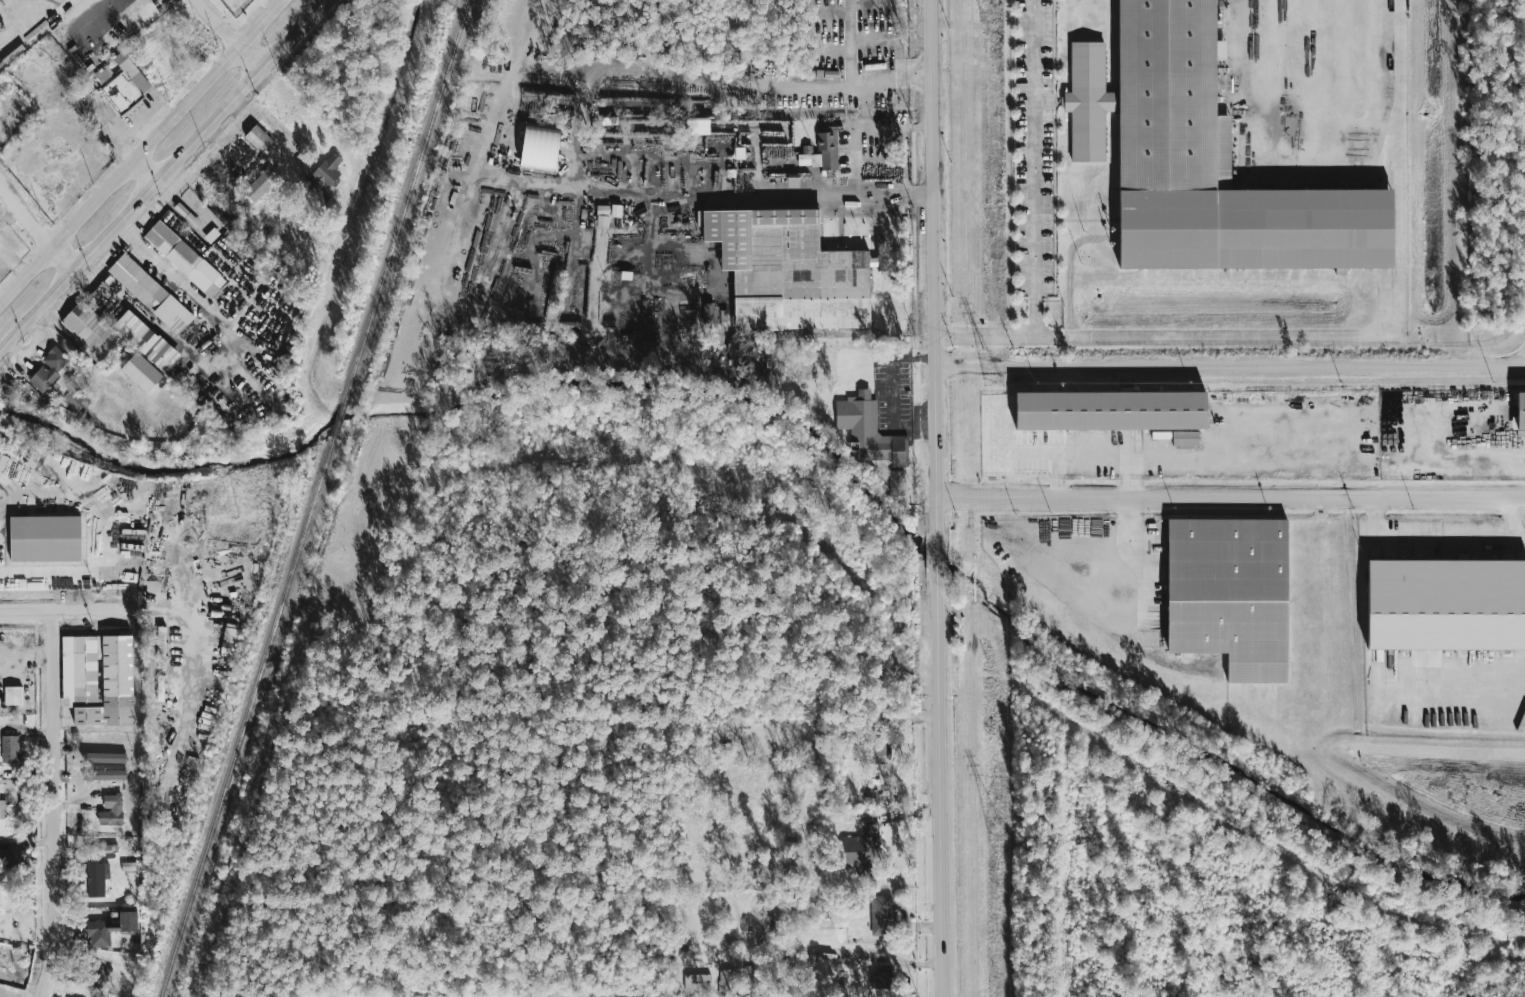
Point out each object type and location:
road: (91, 13)
power tower: (989, 14)
road: (228, 34)
building: (121, 92)
road: (142, 116)
building: (698, 125)
road: (896, 127)
road: (115, 129)
road: (576, 133)
building: (258, 138)
road: (859, 140)
parking lot: (1034, 146)
building: (540, 148)
road: (1035, 148)
building: (823, 150)
road: (141, 152)
building: (1217, 167)
road: (145, 169)
road: (160, 172)
building: (327, 172)
building: (261, 184)
railway: (408, 201)
building: (616, 210)
building: (0, 215)
building: (603, 216)
road: (38, 220)
road: (159, 260)
building: (184, 260)
building: (789, 270)
building: (151, 294)
building: (710, 313)
road: (1035, 316)
building: (86, 326)
road: (1325, 329)
building: (146, 340)
building: (49, 368)
building: (142, 371)
road: (1229, 372)
power tower: (992, 382)
building: (70, 393)
building: (1110, 410)
building: (62, 412)
building: (1520, 415)
railway: (339, 419)
building: (869, 430)
building: (1186, 438)
road: (1091, 456)
building: (897, 483)
road: (936, 498)
road: (1230, 500)
building: (45, 538)
road: (767, 547)
building: (1230, 593)
building: (1446, 604)
road: (61, 610)
building: (98, 679)
building: (13, 695)
railway: (247, 716)
building: (13, 748)
road: (58, 804)
building: (111, 810)
building: (3, 817)
power tower: (998, 837)
building: (861, 847)
building: (100, 848)
building: (13, 857)
building: (97, 878)
building: (881, 915)
building: (110, 928)
building: (96, 975)
building: (879, 979)
building: (726, 980)
building: (697, 982)

